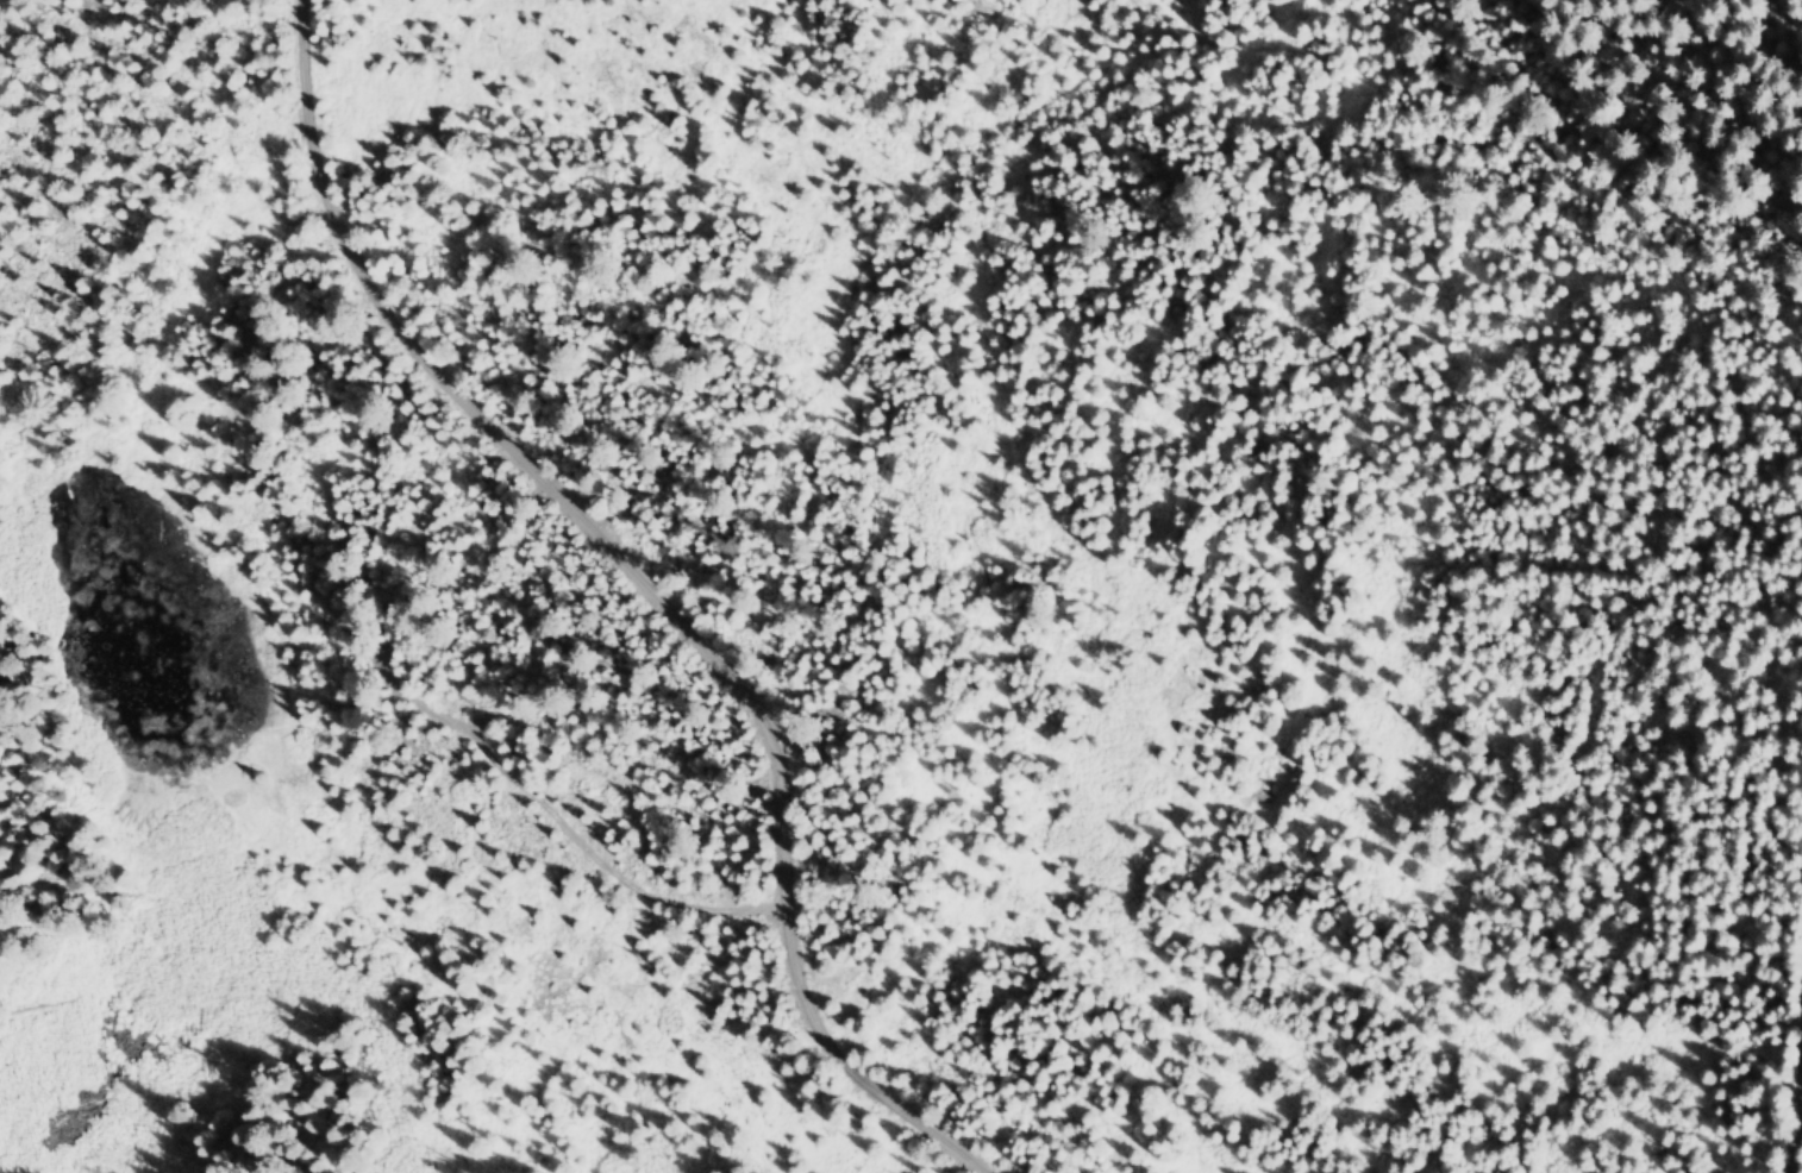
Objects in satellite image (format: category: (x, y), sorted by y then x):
road: (642, 590)
road: (553, 823)
road: (1791, 1079)

